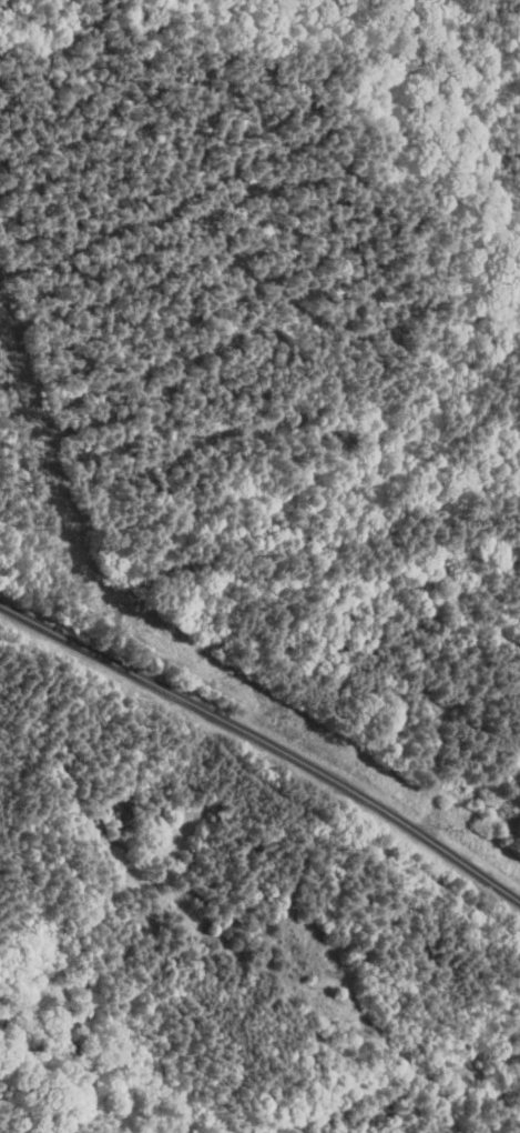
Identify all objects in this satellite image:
road: (265, 744)

